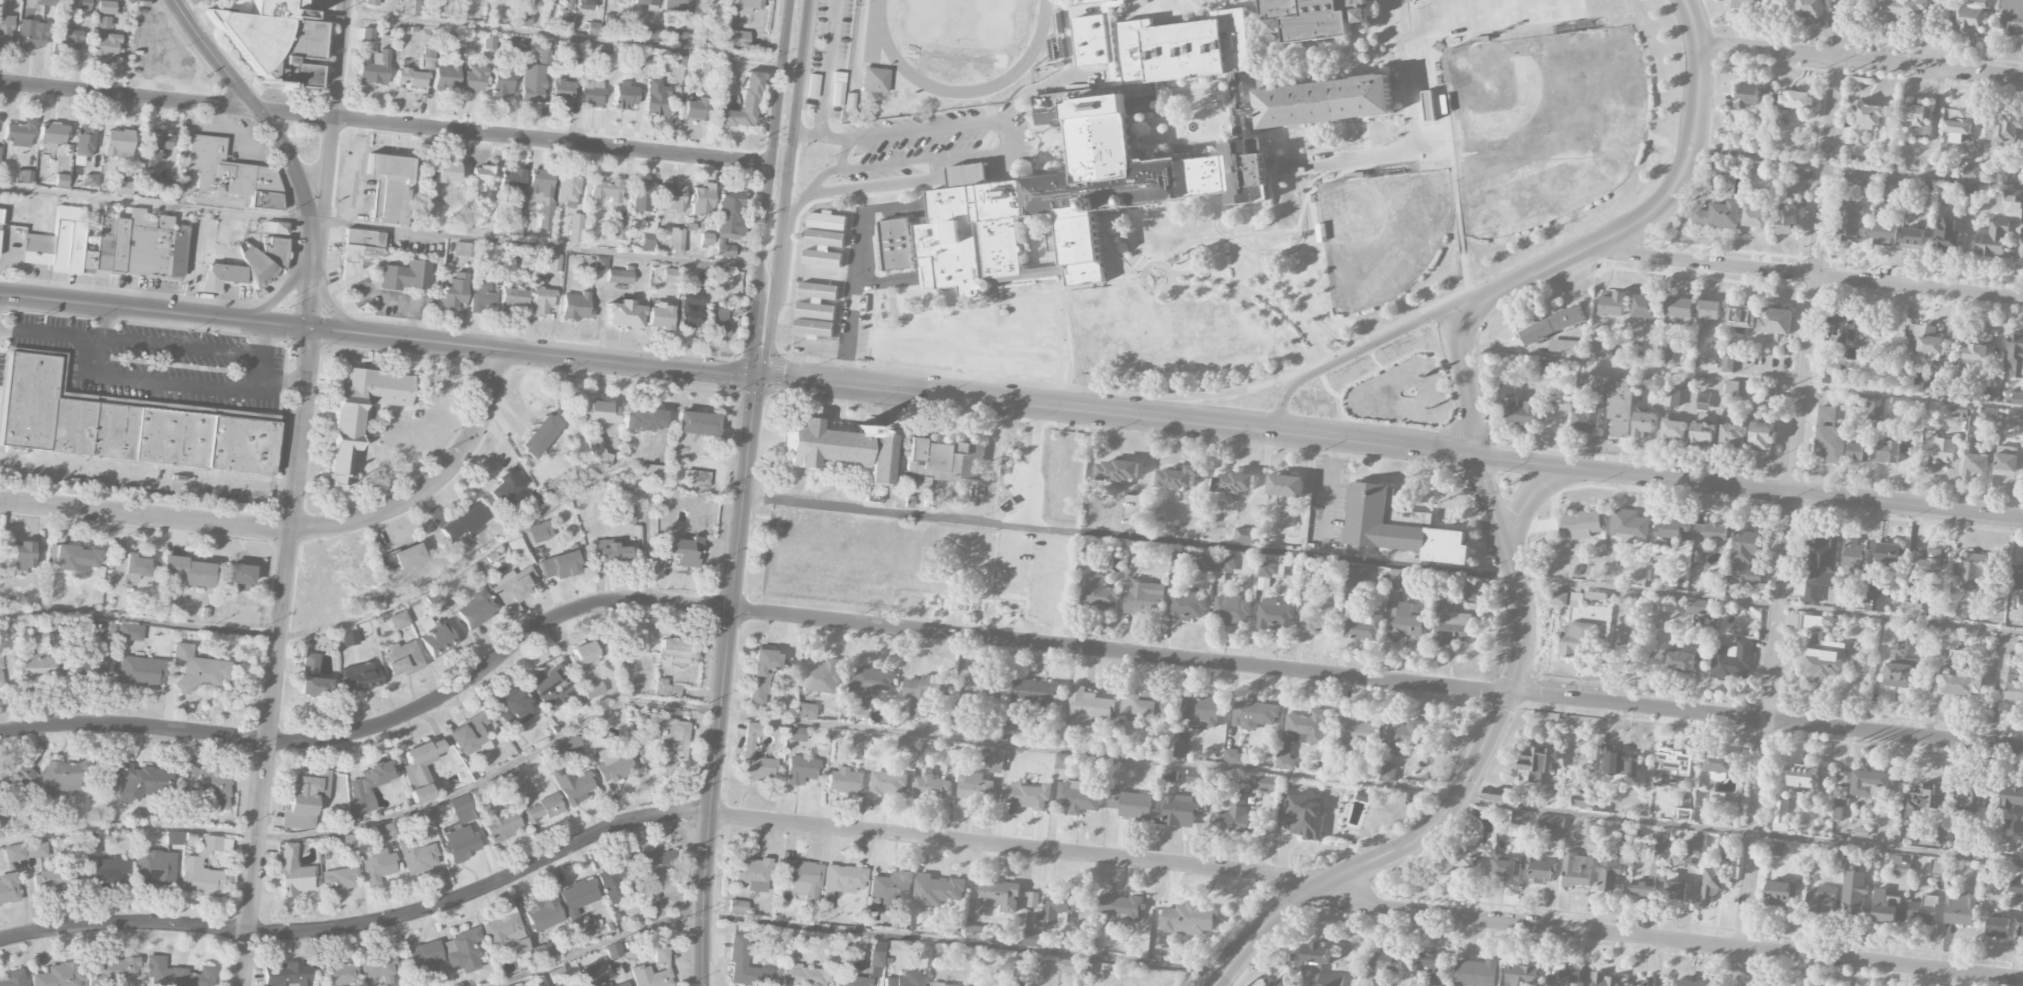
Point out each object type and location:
building: (13, 1)
building: (47, 2)
building: (372, 2)
building: (646, 2)
building: (1090, 2)
building: (84, 4)
road: (186, 4)
building: (677, 5)
building: (744, 5)
building: (1747, 5)
building: (106, 7)
building: (418, 7)
building: (1809, 9)
building: (1900, 10)
park: (1483, 14)
building: (1312, 17)
building: (2011, 17)
building: (522, 18)
building: (566, 18)
building: (1968, 18)
park: (960, 20)
building: (592, 28)
building: (5, 30)
building: (649, 32)
building: (31, 34)
building: (367, 34)
road: (563, 37)
building: (678, 37)
building: (733, 38)
building: (67, 39)
building: (104, 39)
building: (274, 40)
building: (1093, 40)
building: (489, 41)
building: (516, 43)
road: (151, 45)
track: (869, 49)
building: (603, 54)
building: (544, 56)
building: (428, 57)
building: (675, 57)
road: (1861, 60)
building: (573, 63)
building: (374, 68)
road: (827, 68)
road: (1403, 74)
building: (447, 76)
building: (412, 78)
building: (475, 79)
road: (1065, 80)
building: (873, 81)
building: (502, 82)
building: (532, 83)
building: (561, 91)
building: (590, 92)
building: (623, 95)
building: (1747, 97)
building: (656, 98)
building: (1795, 101)
building: (741, 104)
building: (693, 109)
building: (1918, 120)
building: (1864, 121)
road: (384, 123)
park: (1540, 123)
road: (271, 125)
building: (1957, 126)
building: (2006, 129)
building: (18, 133)
road: (895, 133)
road: (1012, 133)
building: (51, 135)
building: (84, 141)
building: (118, 143)
building: (153, 146)
building: (0, 147)
road: (839, 153)
building: (1125, 156)
road: (1360, 158)
road: (904, 161)
road: (329, 164)
building: (1971, 170)
road: (1857, 171)
building: (445, 172)
building: (232, 174)
building: (1797, 174)
building: (24, 176)
building: (483, 179)
building: (1856, 179)
building: (90, 180)
building: (512, 182)
building: (161, 186)
building: (123, 187)
building: (389, 188)
road: (766, 188)
road: (850, 188)
building: (567, 189)
road: (783, 189)
building: (606, 190)
building: (541, 196)
building: (641, 196)
building: (671, 197)
building: (702, 199)
road: (154, 205)
road: (1659, 207)
road: (872, 209)
building: (730, 212)
building: (1725, 215)
building: (0, 216)
building: (1701, 218)
building: (1756, 218)
building: (1786, 220)
building: (514, 223)
building: (1849, 223)
building: (280, 228)
building: (574, 228)
building: (618, 231)
building: (1882, 231)
park: (1379, 233)
building: (1945, 235)
building: (647, 236)
building: (706, 239)
building: (1912, 239)
building: (675, 240)
building: (1991, 240)
building: (895, 243)
building: (108, 245)
building: (2020, 245)
road: (539, 246)
building: (723, 248)
building: (274, 249)
building: (362, 249)
building: (464, 249)
building: (554, 262)
road: (1137, 262)
building: (600, 264)
building: (259, 269)
road: (1805, 274)
building: (405, 275)
building: (670, 275)
building: (221, 276)
building: (619, 276)
road: (1174, 276)
road: (1144, 277)
road: (1172, 278)
road: (885, 281)
building: (455, 291)
road: (1240, 292)
building: (482, 293)
road: (1248, 293)
road: (276, 296)
road: (816, 298)
road: (854, 298)
building: (514, 300)
building: (541, 302)
building: (1612, 303)
building: (575, 306)
building: (1645, 307)
building: (682, 308)
building: (1680, 308)
road: (333, 310)
building: (1710, 310)
building: (623, 314)
building: (658, 316)
building: (1741, 316)
building: (1568, 318)
building: (1775, 321)
building: (715, 322)
building: (1842, 329)
building: (1537, 332)
road: (65, 339)
building: (1925, 343)
road: (180, 345)
building: (1563, 346)
building: (1978, 349)
building: (1600, 350)
road: (1353, 352)
road: (1521, 352)
building: (1666, 353)
building: (2014, 356)
road: (1315, 359)
building: (1727, 362)
road: (261, 369)
building: (1547, 370)
traffic signals: (755, 377)
road: (1749, 379)
road: (164, 383)
building: (1931, 389)
building: (1730, 390)
park: (1389, 392)
building: (1992, 396)
building: (1672, 397)
building: (2017, 399)
building: (1612, 400)
road: (1011, 403)
building: (1870, 405)
building: (1959, 411)
building: (596, 412)
building: (1988, 414)
building: (2015, 417)
building: (643, 420)
building: (1586, 420)
building: (696, 423)
building: (126, 424)
building: (1643, 424)
building: (1674, 430)
building: (1703, 434)
building: (539, 435)
building: (1732, 436)
building: (1828, 436)
building: (1761, 437)
building: (343, 440)
building: (842, 449)
building: (1859, 451)
building: (598, 452)
building: (1888, 452)
building: (1937, 452)
building: (1974, 458)
building: (2005, 465)
road: (1033, 466)
building: (1117, 470)
building: (651, 472)
building: (1178, 477)
building: (696, 478)
road: (430, 482)
road: (608, 482)
building: (1233, 483)
building: (1285, 486)
building: (552, 487)
building: (502, 488)
road: (1330, 492)
road: (1791, 493)
building: (533, 499)
road: (1522, 500)
road: (144, 514)
building: (626, 516)
building: (465, 523)
building: (1628, 524)
building: (1580, 525)
building: (1188, 530)
building: (1673, 530)
building: (539, 532)
building: (1711, 532)
building: (1246, 536)
building: (684, 551)
building: (608, 552)
building: (1888, 554)
building: (23, 555)
building: (1820, 555)
building: (1745, 556)
building: (402, 557)
building: (74, 558)
building: (1853, 558)
building: (1189, 564)
building: (1928, 564)
building: (561, 565)
road: (1382, 565)
building: (128, 568)
building: (1223, 569)
building: (186, 571)
building: (1970, 571)
building: (1269, 574)
building: (1358, 576)
building: (238, 577)
building: (2018, 578)
building: (1400, 580)
building: (513, 590)
building: (1470, 592)
building: (1099, 593)
building: (1595, 596)
building: (1144, 598)
building: (1875, 598)
building: (1558, 599)
building: (435, 602)
building: (1186, 604)
road: (387, 607)
building: (1698, 607)
building: (477, 608)
building: (1912, 609)
building: (1231, 611)
building: (1274, 615)
building: (1955, 615)
building: (398, 620)
building: (1320, 621)
building: (1406, 622)
building: (1449, 624)
building: (1810, 624)
building: (1363, 627)
building: (130, 632)
building: (106, 634)
road: (994, 638)
building: (346, 639)
building: (437, 640)
building: (1577, 640)
building: (678, 649)
building: (585, 654)
building: (347, 656)
road: (275, 657)
building: (401, 658)
building: (1956, 659)
building: (1679, 661)
building: (1732, 661)
building: (1823, 663)
building: (36, 666)
building: (1899, 667)
building: (86, 668)
building: (197, 668)
building: (140, 672)
building: (1, 675)
building: (761, 675)
building: (360, 676)
building: (312, 677)
building: (822, 677)
building: (2011, 678)
road: (722, 681)
building: (870, 684)
building: (978, 686)
building: (1960, 686)
building: (550, 687)
building: (592, 689)
building: (666, 689)
building: (1035, 693)
building: (922, 694)
building: (1146, 703)
building: (511, 707)
road: (1499, 707)
building: (1087, 708)
building: (805, 710)
building: (1202, 710)
building: (1254, 715)
building: (639, 717)
building: (1306, 727)
building: (1354, 730)
building: (1017, 731)
building: (796, 734)
building: (469, 735)
building: (1408, 736)
building: (863, 741)
building: (671, 743)
building: (569, 746)
building: (907, 746)
road: (996, 746)
building: (748, 747)
building: (1181, 751)
building: (1233, 757)
building: (1284, 757)
building: (953, 758)
building: (994, 760)
building: (1063, 762)
building: (1536, 763)
building: (612, 764)
building: (1619, 764)
building: (1671, 766)
building: (1719, 767)
building: (420, 769)
building: (801, 769)
building: (1387, 774)
building: (1170, 775)
building: (50, 778)
building: (1802, 778)
building: (137, 780)
building: (843, 781)
building: (887, 783)
building: (370, 784)
building: (1267, 784)
building: (1870, 784)
building: (209, 786)
building: (572, 786)
building: (931, 787)
building: (975, 787)
building: (1842, 795)
building: (1026, 796)
building: (1923, 797)
building: (2012, 797)
building: (1078, 798)
building: (304, 800)
building: (1581, 800)
building: (1701, 800)
building: (1130, 804)
building: (1969, 804)
building: (461, 809)
building: (541, 809)
building: (1178, 812)
building: (1838, 813)
building: (1683, 815)
building: (1780, 816)
building: (1239, 817)
building: (1303, 817)
road: (647, 818)
building: (420, 819)
building: (1215, 820)
building: (1519, 824)
building: (499, 825)
building: (1551, 827)
building: (383, 832)
building: (174, 838)
building: (347, 841)
building: (213, 843)
building: (460, 843)
building: (1722, 843)
building: (90, 844)
building: (36, 849)
building: (1694, 850)
building: (1776, 850)
building: (14, 853)
building: (417, 856)
building: (377, 865)
building: (1900, 867)
building: (1937, 867)
building: (154, 868)
building: (1507, 868)
building: (1539, 871)
building: (1576, 871)
building: (108, 872)
building: (1653, 872)
building: (294, 873)
building: (752, 873)
building: (653, 875)
building: (1608, 877)
building: (201, 878)
building: (802, 878)
building: (55, 879)
building: (1712, 879)
building: (339, 880)
building: (841, 881)
building: (2015, 885)
building: (891, 886)
building: (8, 888)
building: (1675, 890)
building: (937, 891)
building: (1779, 894)
building: (578, 896)
building: (999, 898)
building: (1852, 899)
building: (1033, 900)
building: (1819, 901)
building: (737, 907)
building: (1884, 907)
building: (1059, 908)
building: (1121, 908)
building: (1960, 909)
building: (1922, 911)
building: (544, 913)
building: (1188, 920)
building: (1998, 928)
road: (852, 929)
building: (505, 933)
building: (978, 933)
building: (1033, 940)
road: (1672, 940)
building: (462, 951)
building: (613, 951)
building: (543, 952)
building: (877, 953)
building: (425, 957)
building: (1383, 962)
building: (745, 964)
building: (1067, 966)
building: (1430, 966)
building: (641, 967)
building: (1315, 967)
building: (120, 968)
building: (379, 968)
building: (1020, 971)
building: (597, 972)
building: (340, 973)
building: (1475, 973)
building: (175, 974)
building: (287, 974)
building: (59, 975)
building: (804, 976)
building: (849, 976)
building: (13, 978)
building: (1564, 978)
building: (905, 979)
building: (1607, 980)
building: (1642, 982)
building: (1689, 983)
building: (605, 984)
building: (621, 984)
building: (1271, 984)
building: (942, 985)

